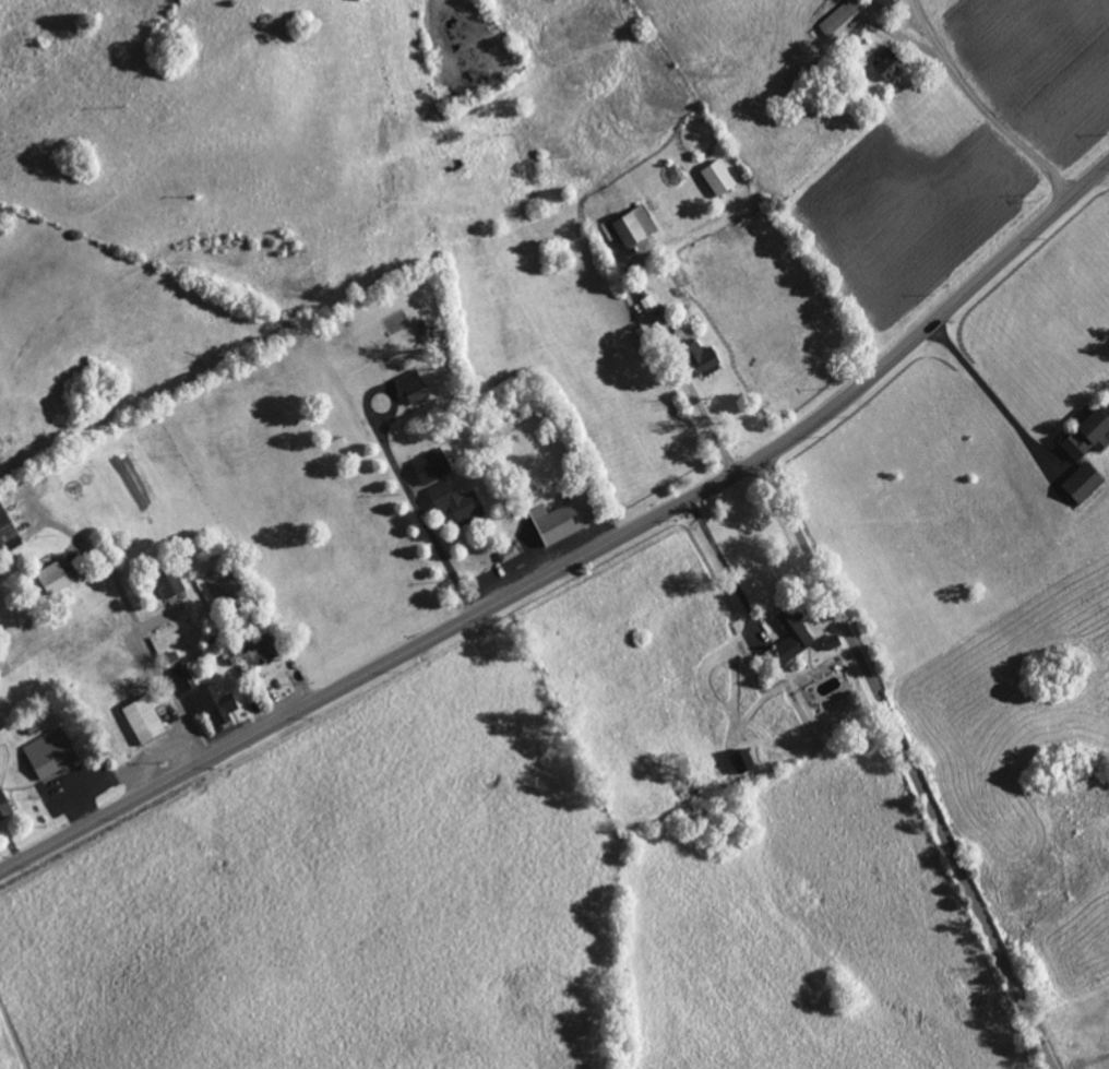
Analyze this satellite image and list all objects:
building: (885, 3)
building: (840, 16)
building: (887, 63)
road: (981, 106)
building: (718, 177)
building: (633, 225)
building: (648, 302)
building: (702, 358)
building: (410, 387)
road: (992, 396)
road: (704, 413)
building: (1076, 453)
building: (431, 465)
building: (455, 502)
building: (561, 519)
road: (426, 520)
building: (4, 526)
building: (508, 553)
road: (581, 555)
road: (722, 559)
building: (53, 578)
building: (168, 582)
road: (140, 622)
building: (794, 634)
building: (261, 649)
building: (180, 675)
building: (213, 704)
building: (143, 720)
building: (50, 753)
road: (911, 760)
building: (742, 761)
building: (3, 807)

